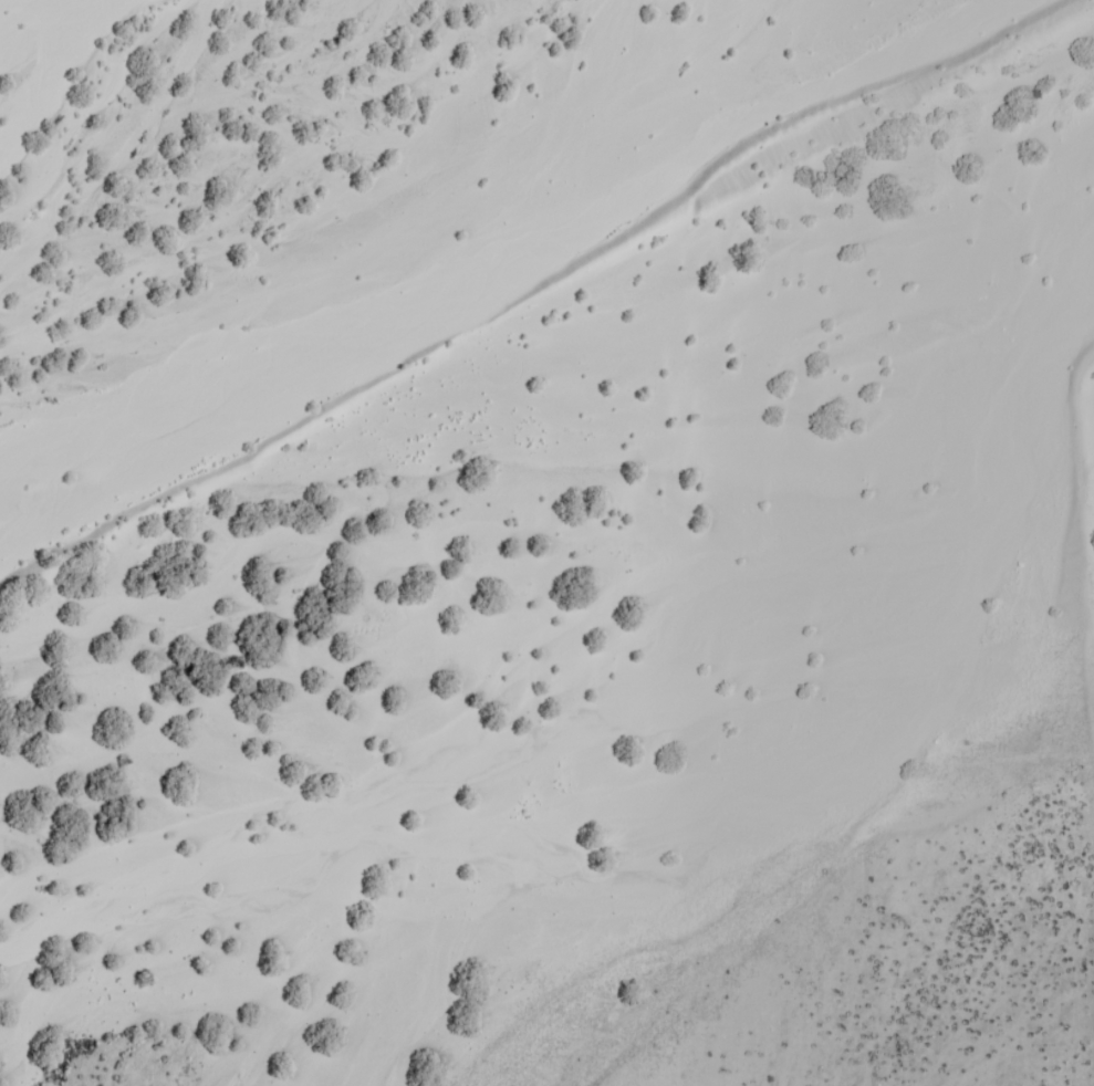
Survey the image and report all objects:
river: (508, 421)

